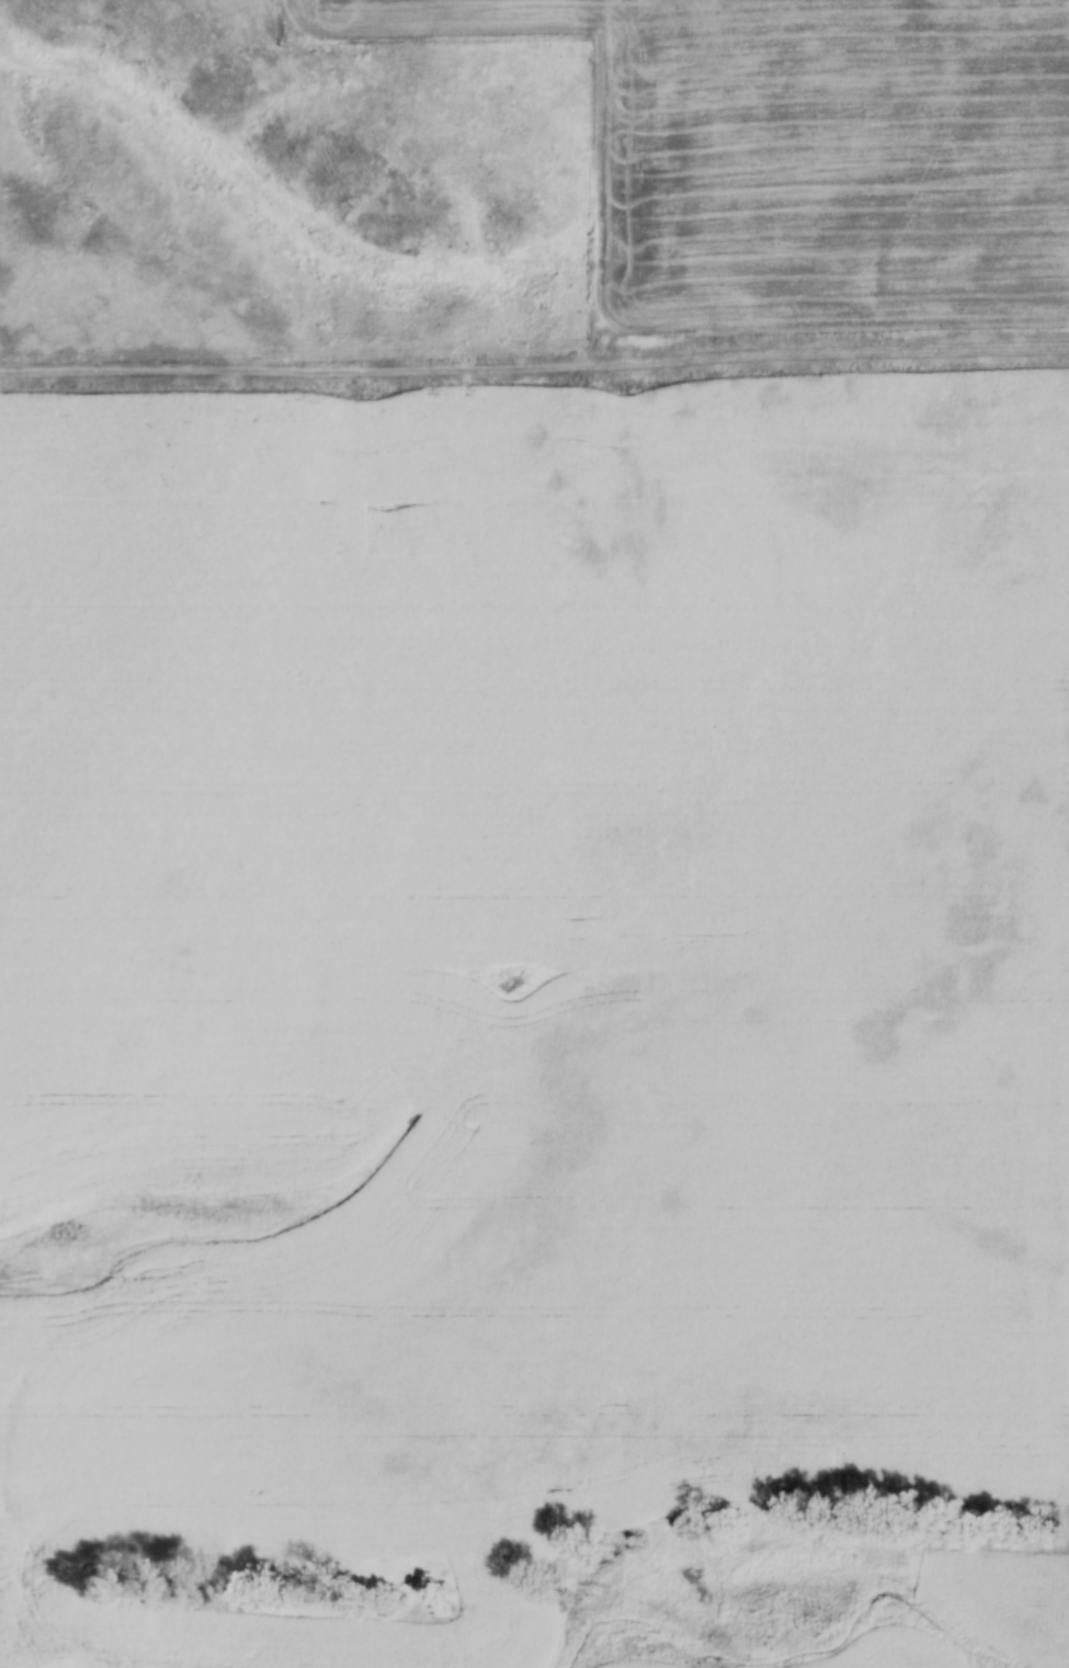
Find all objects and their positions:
road: (534, 361)

